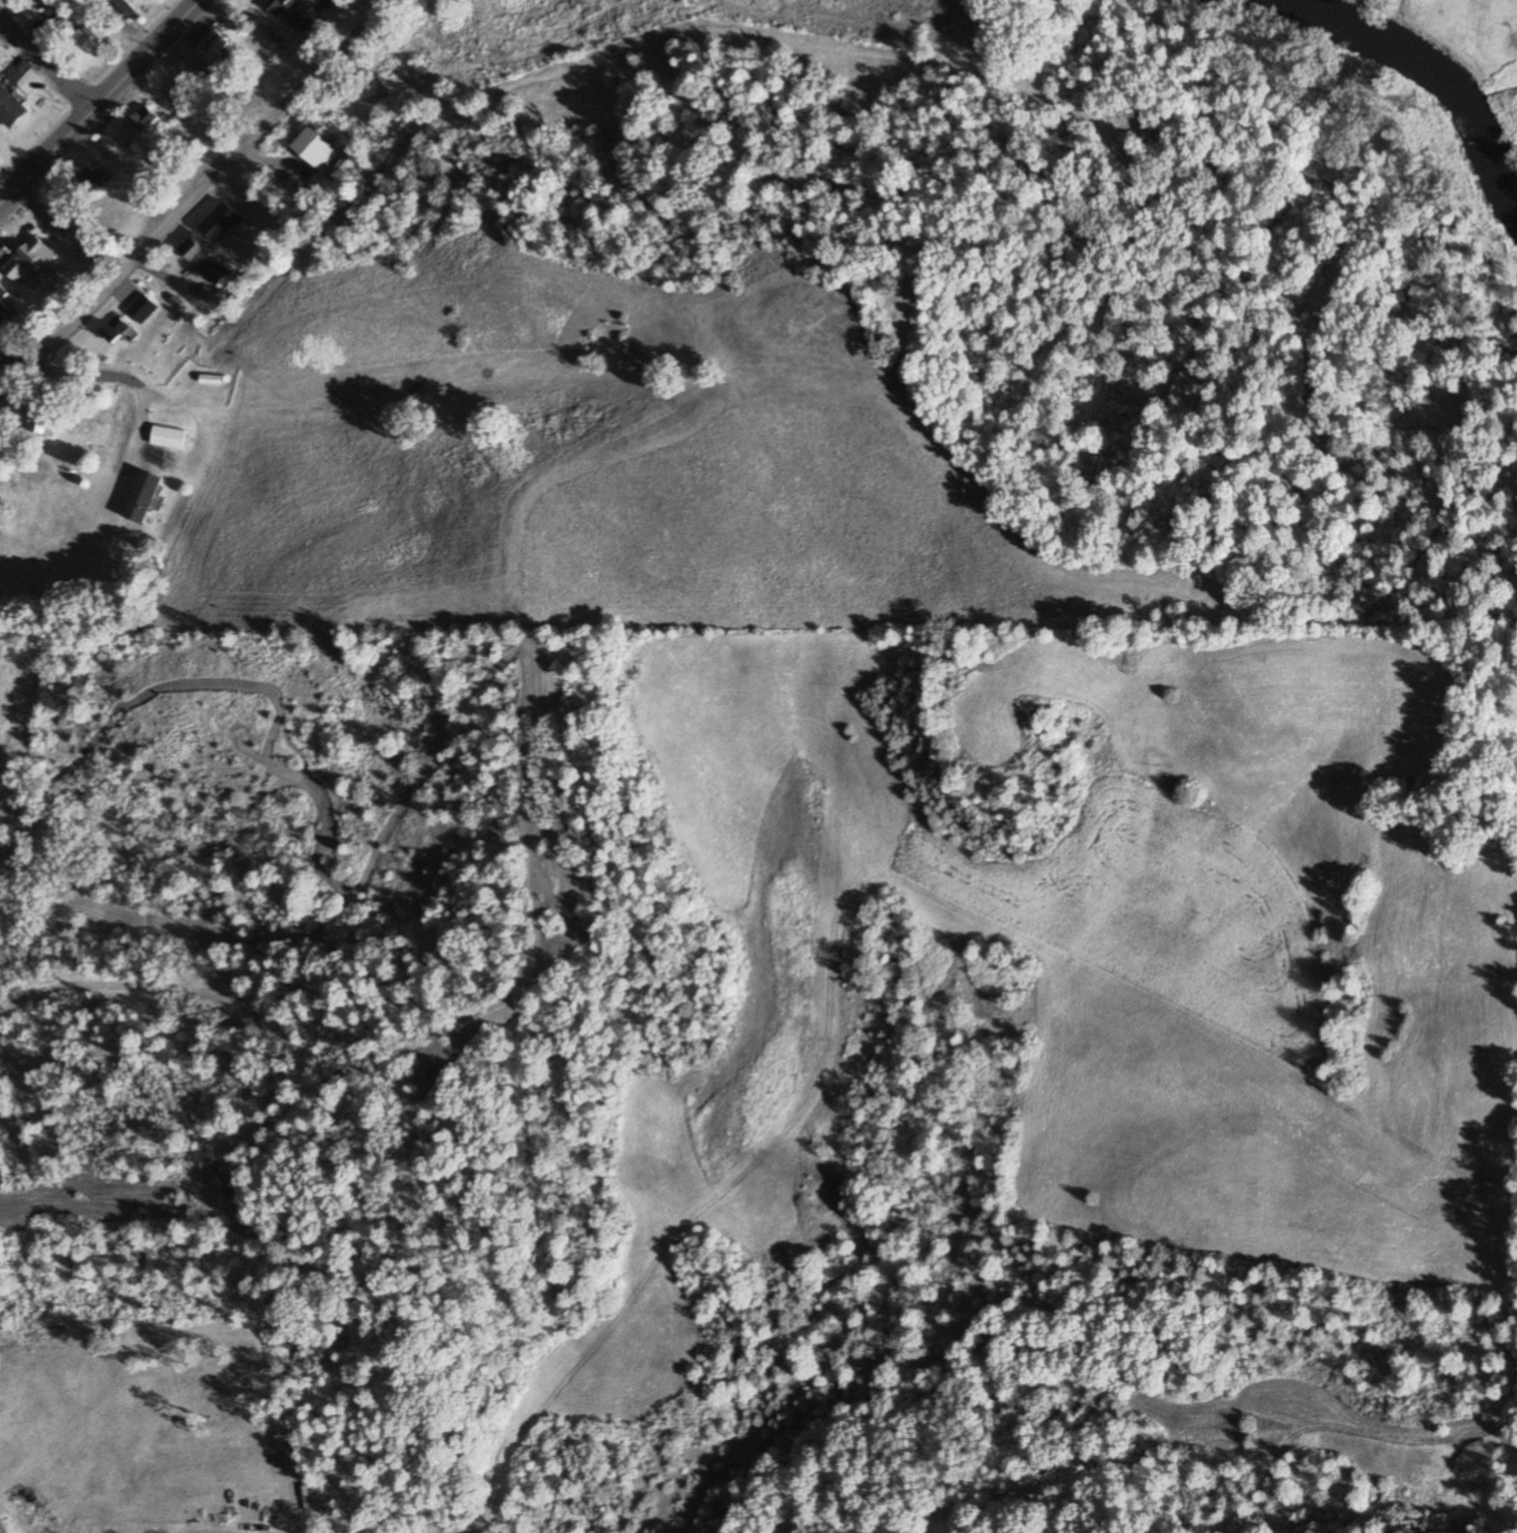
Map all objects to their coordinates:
building: (278, 6)
building: (121, 8)
building: (56, 13)
building: (303, 17)
park: (1461, 31)
building: (91, 36)
building: (212, 49)
road: (44, 65)
river: (1437, 70)
road: (97, 100)
building: (10, 108)
building: (143, 118)
building: (314, 148)
building: (87, 179)
road: (211, 181)
building: (29, 259)
building: (204, 259)
building: (2, 297)
building: (142, 307)
building: (115, 328)
road: (64, 374)
building: (213, 379)
building: (168, 437)
building: (142, 496)

